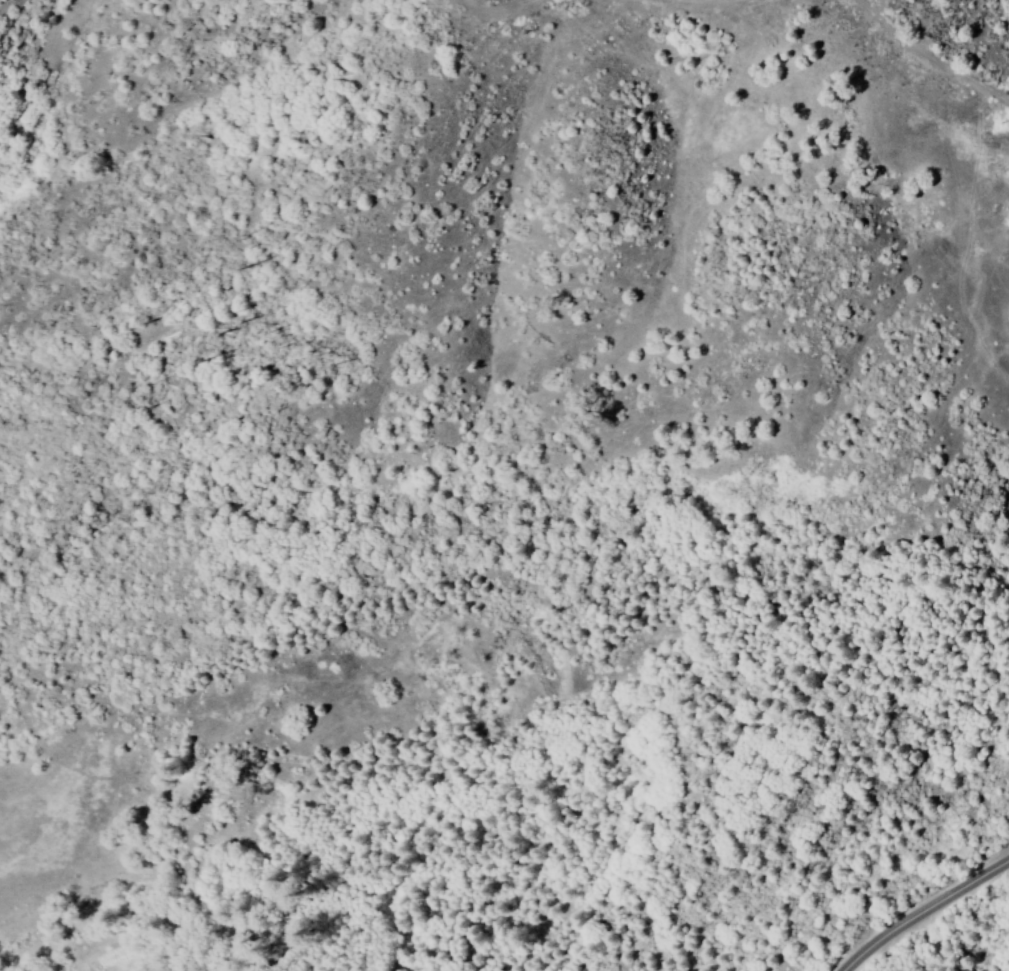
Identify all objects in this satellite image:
road: (920, 908)

